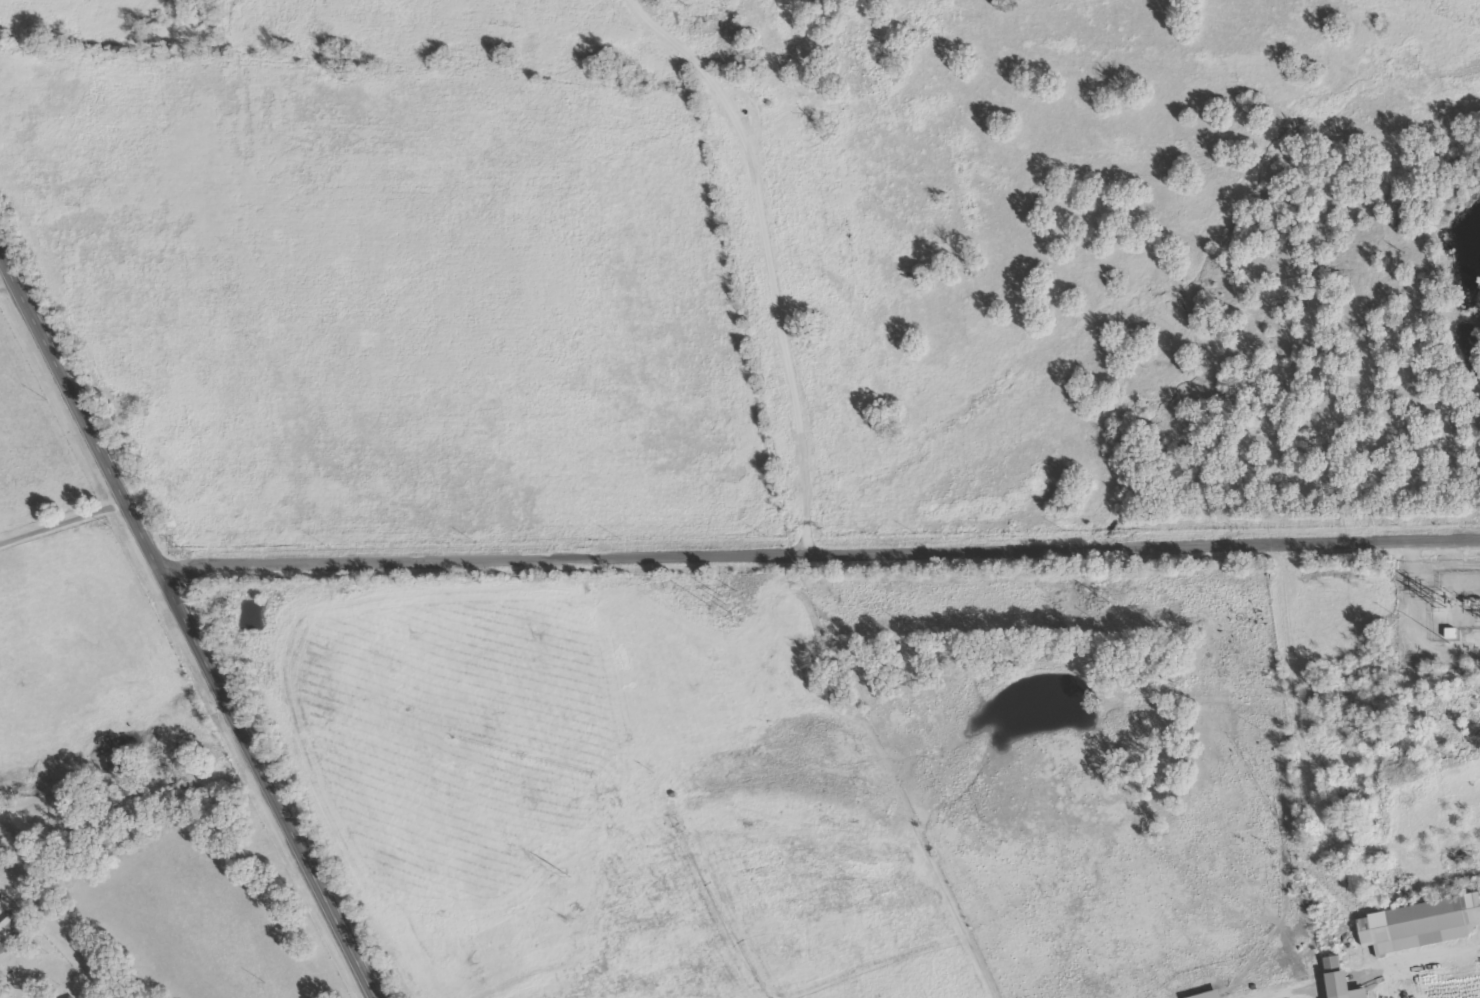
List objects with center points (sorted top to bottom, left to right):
road: (815, 546)
road: (186, 627)
building: (1423, 925)
building: (10, 935)
building: (1344, 980)
building: (1215, 995)

